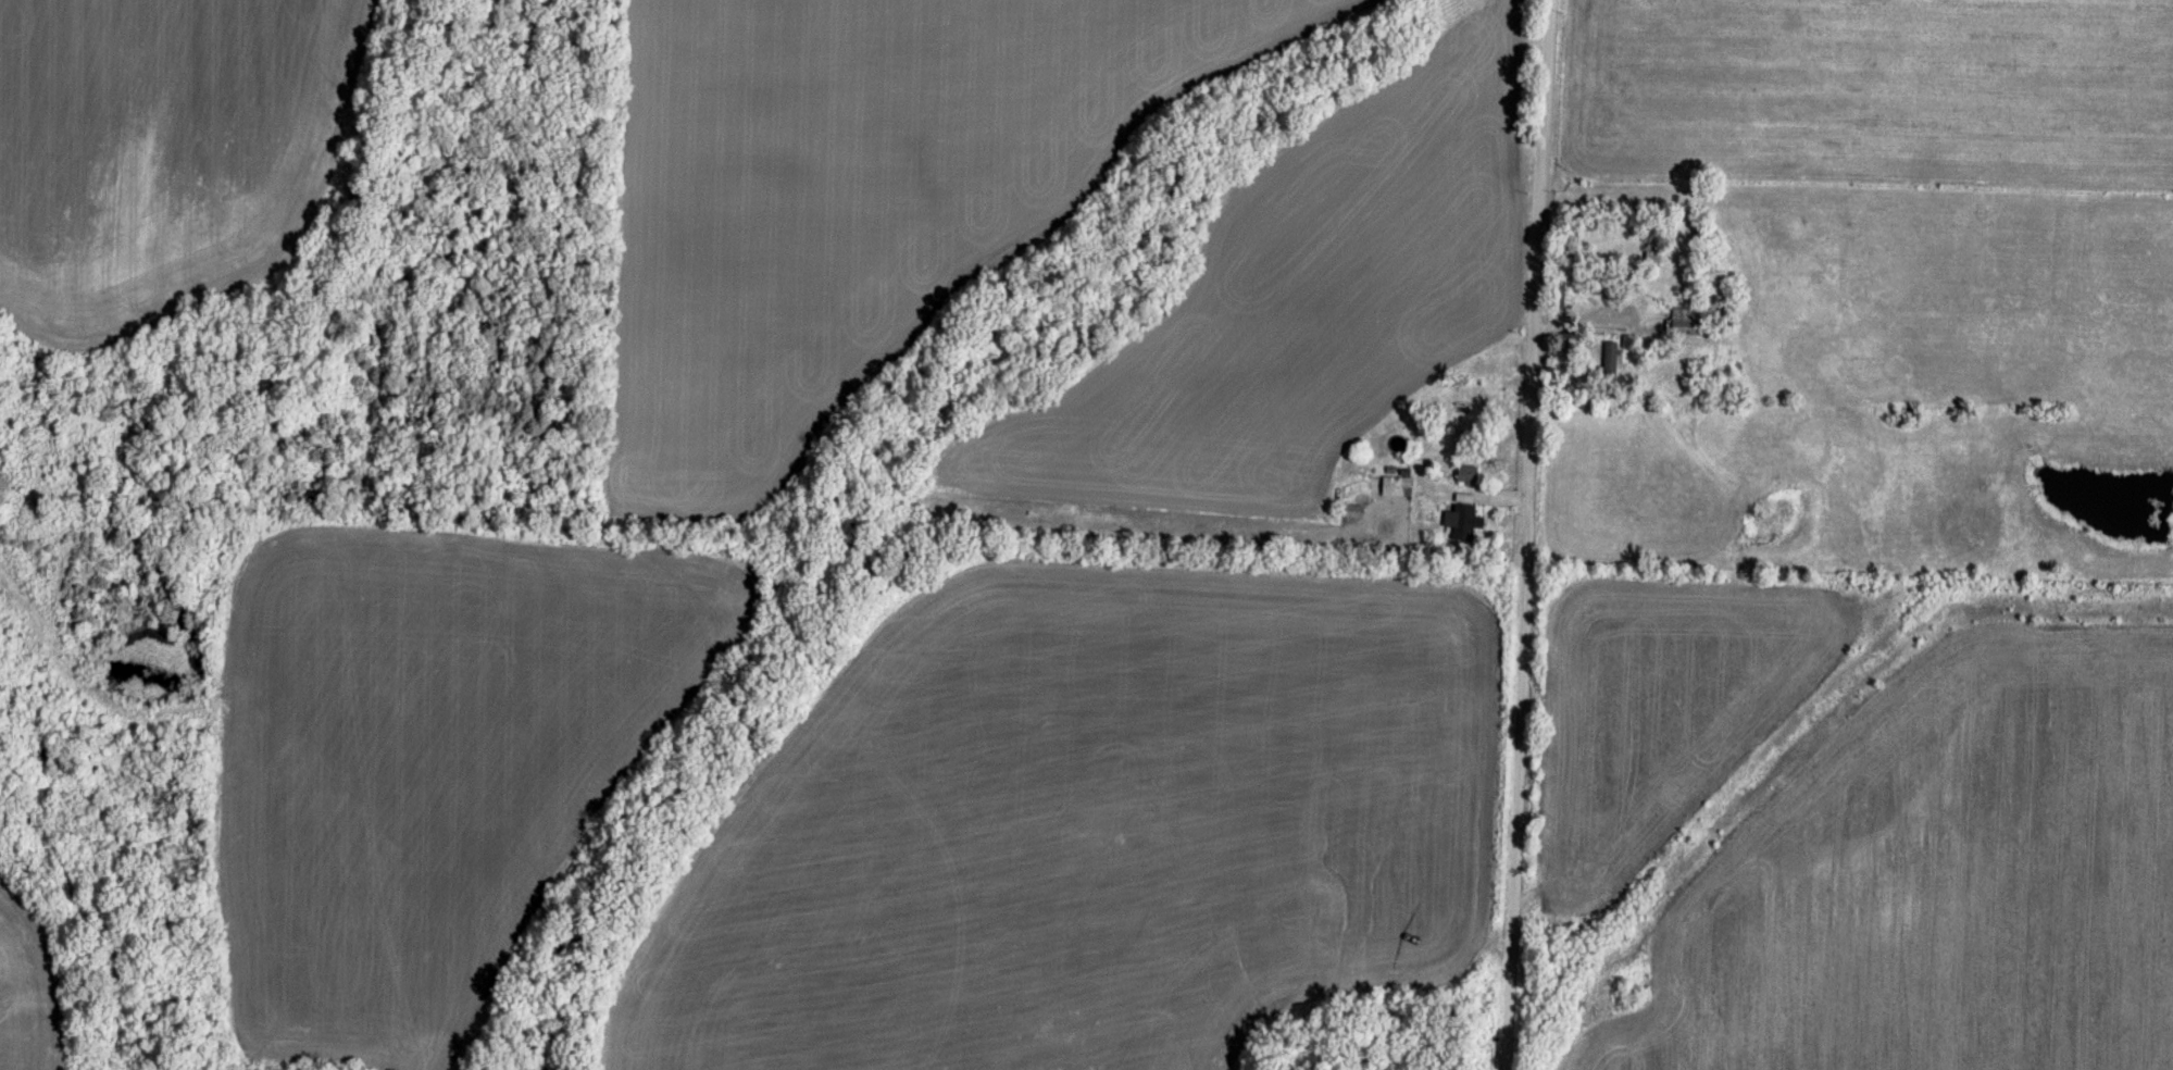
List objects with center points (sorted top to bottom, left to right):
building: (1562, 294)
building: (1609, 354)
building: (1464, 471)
building: (1395, 483)
building: (1462, 515)
road: (1525, 534)

